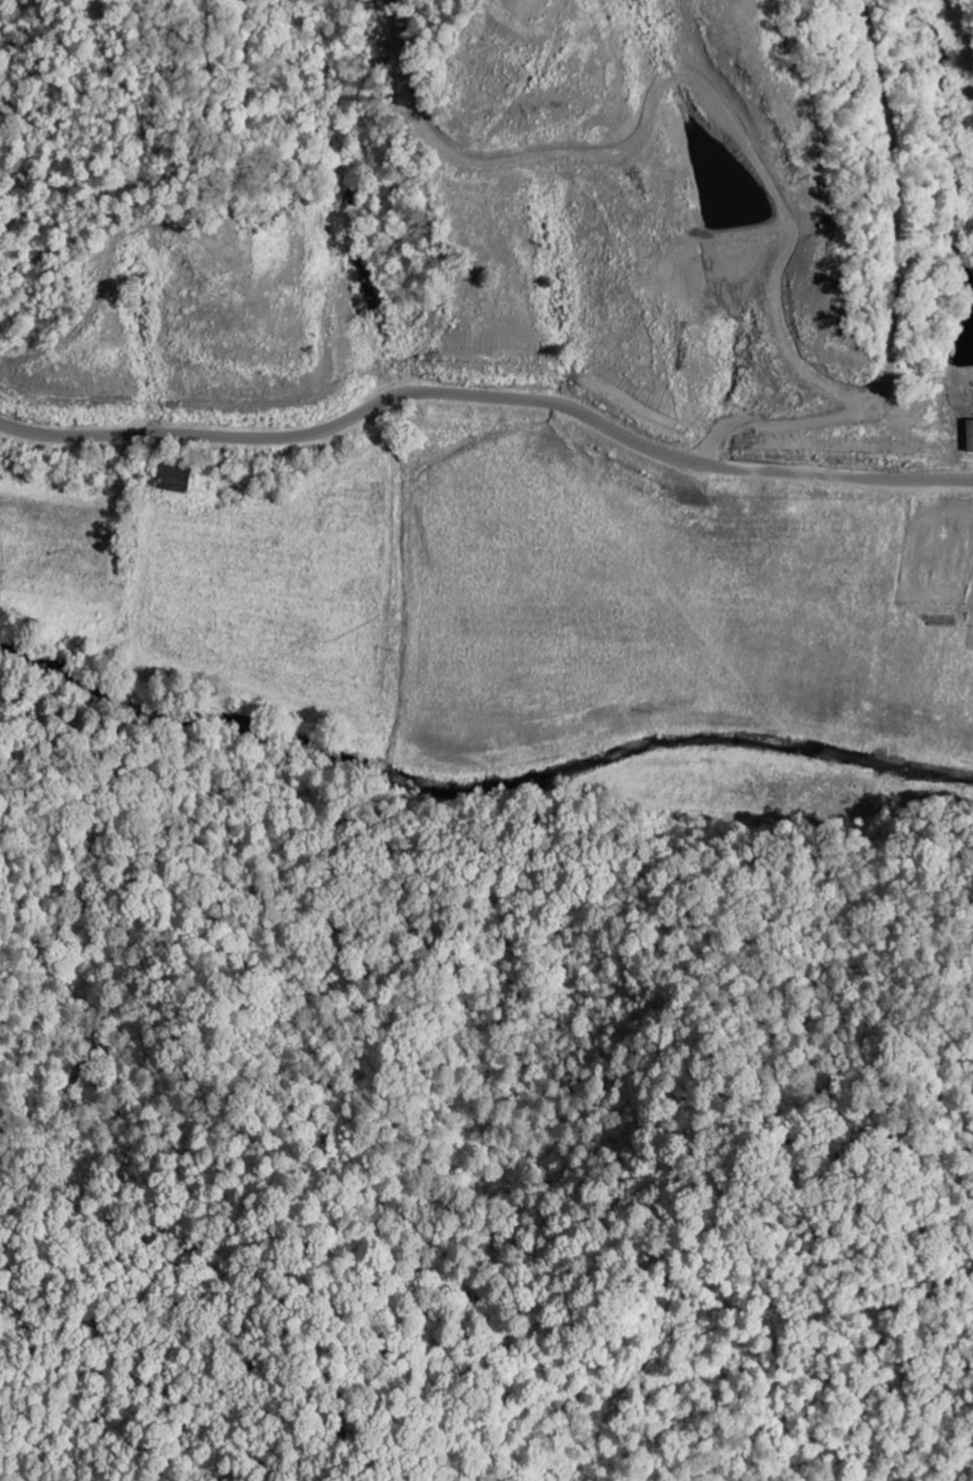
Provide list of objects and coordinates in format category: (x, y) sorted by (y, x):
road: (897, 301)
road: (487, 395)

